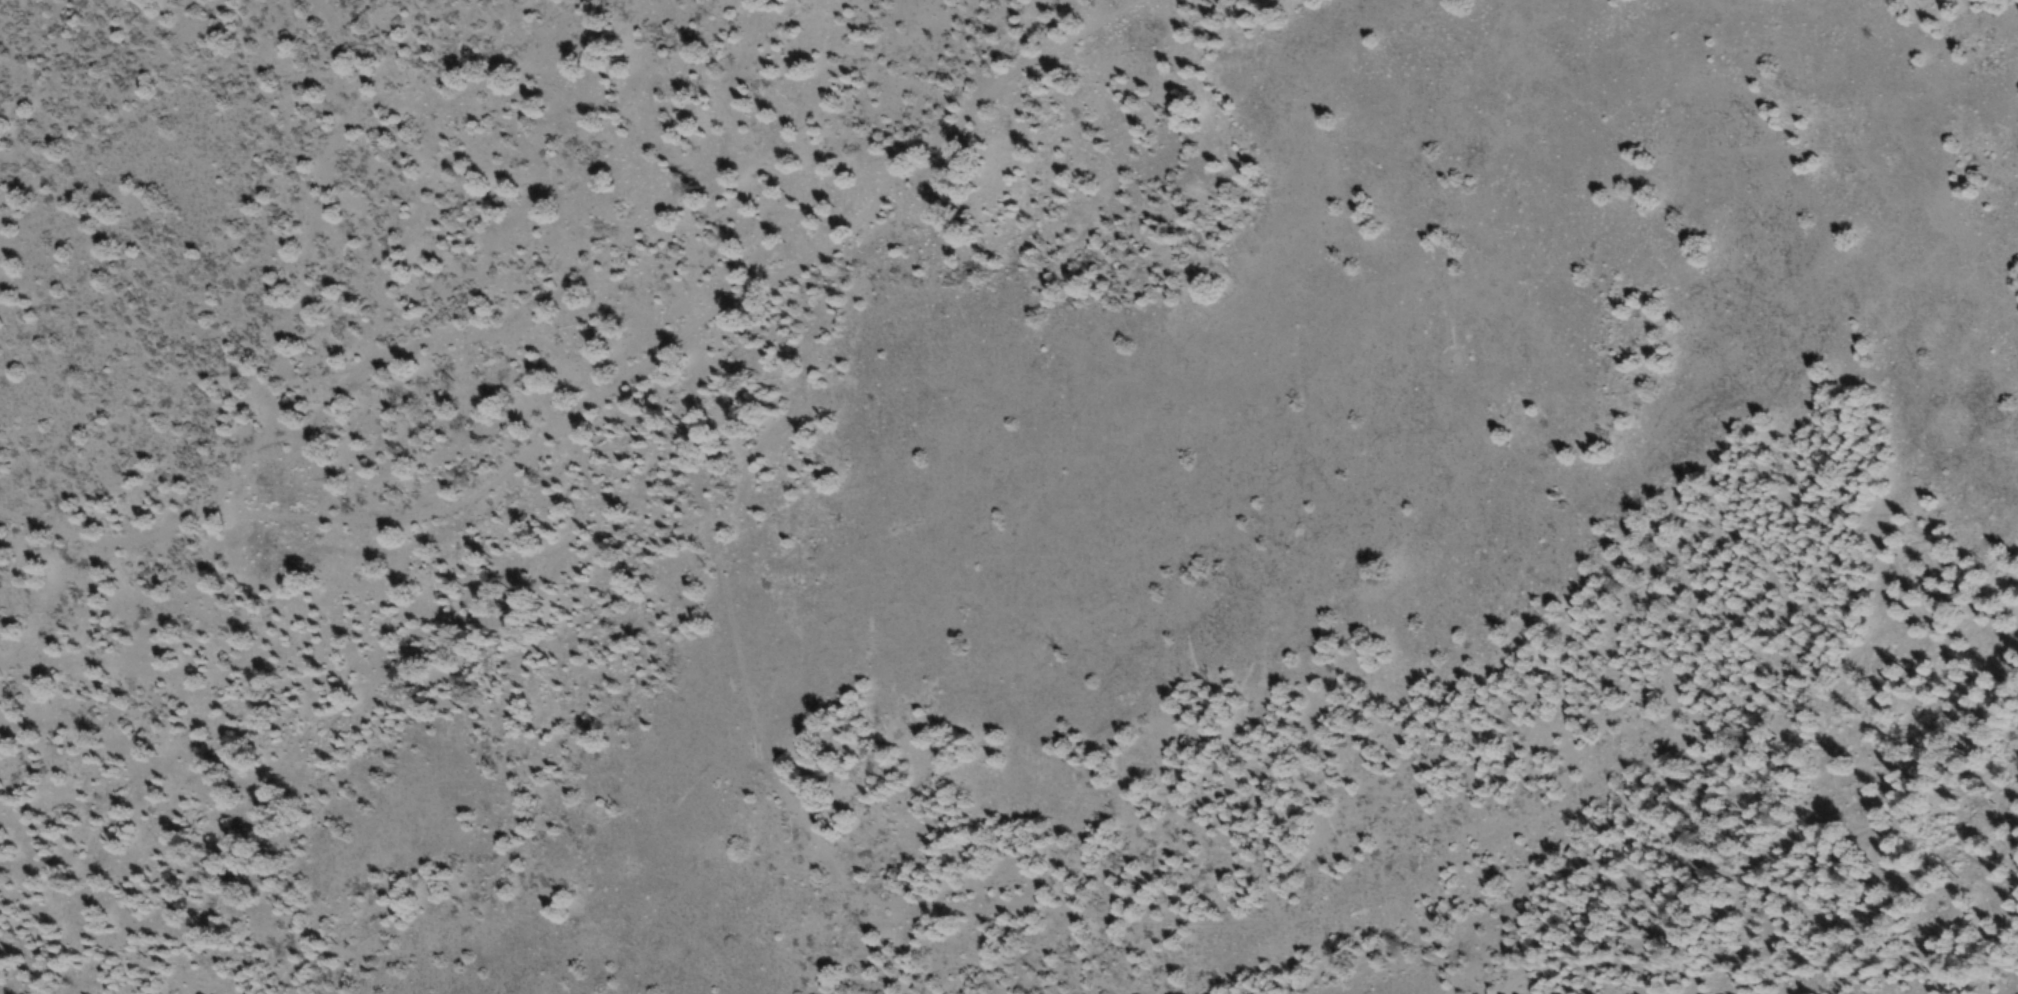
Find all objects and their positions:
road: (613, 389)
road: (1145, 919)

